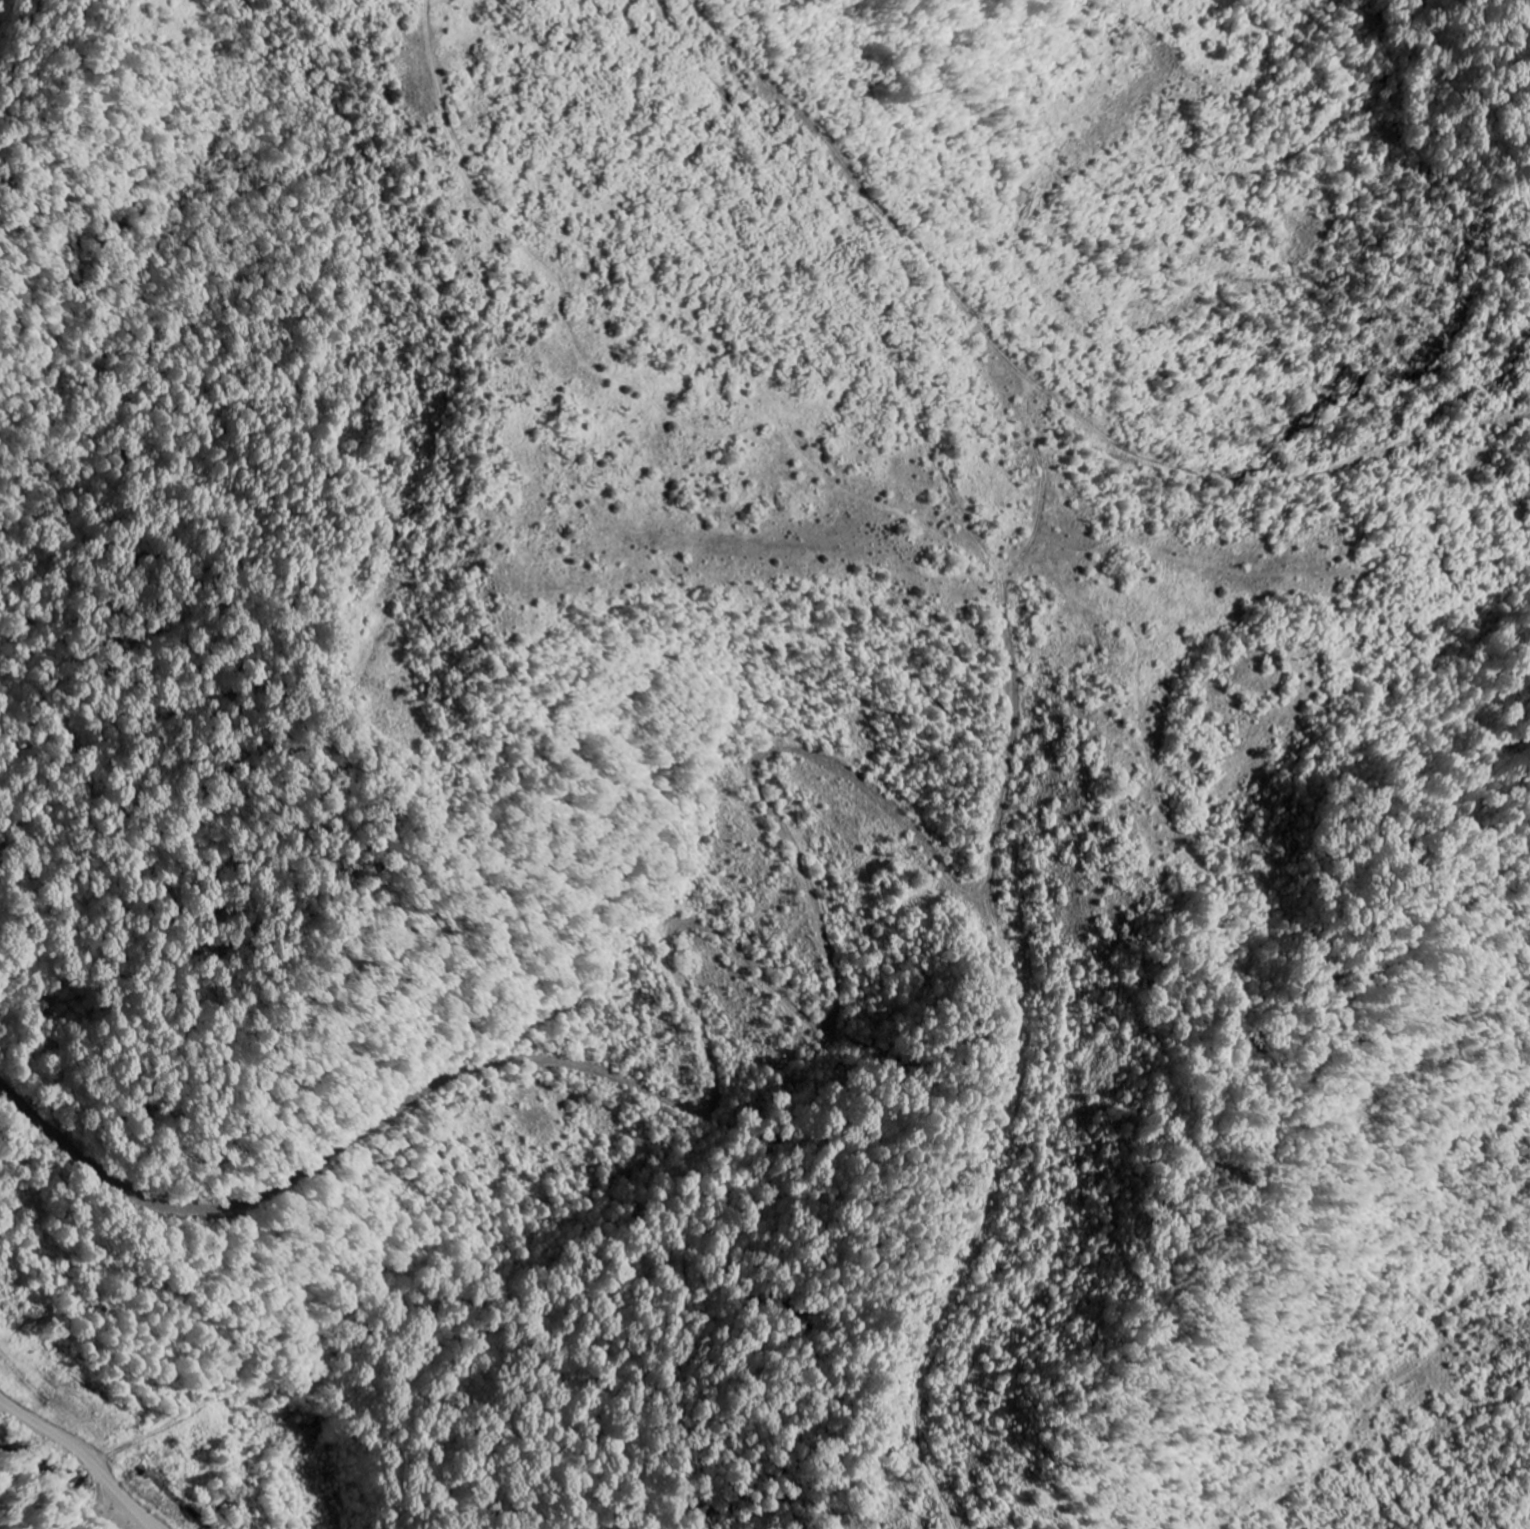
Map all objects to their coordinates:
road: (103, 1411)

